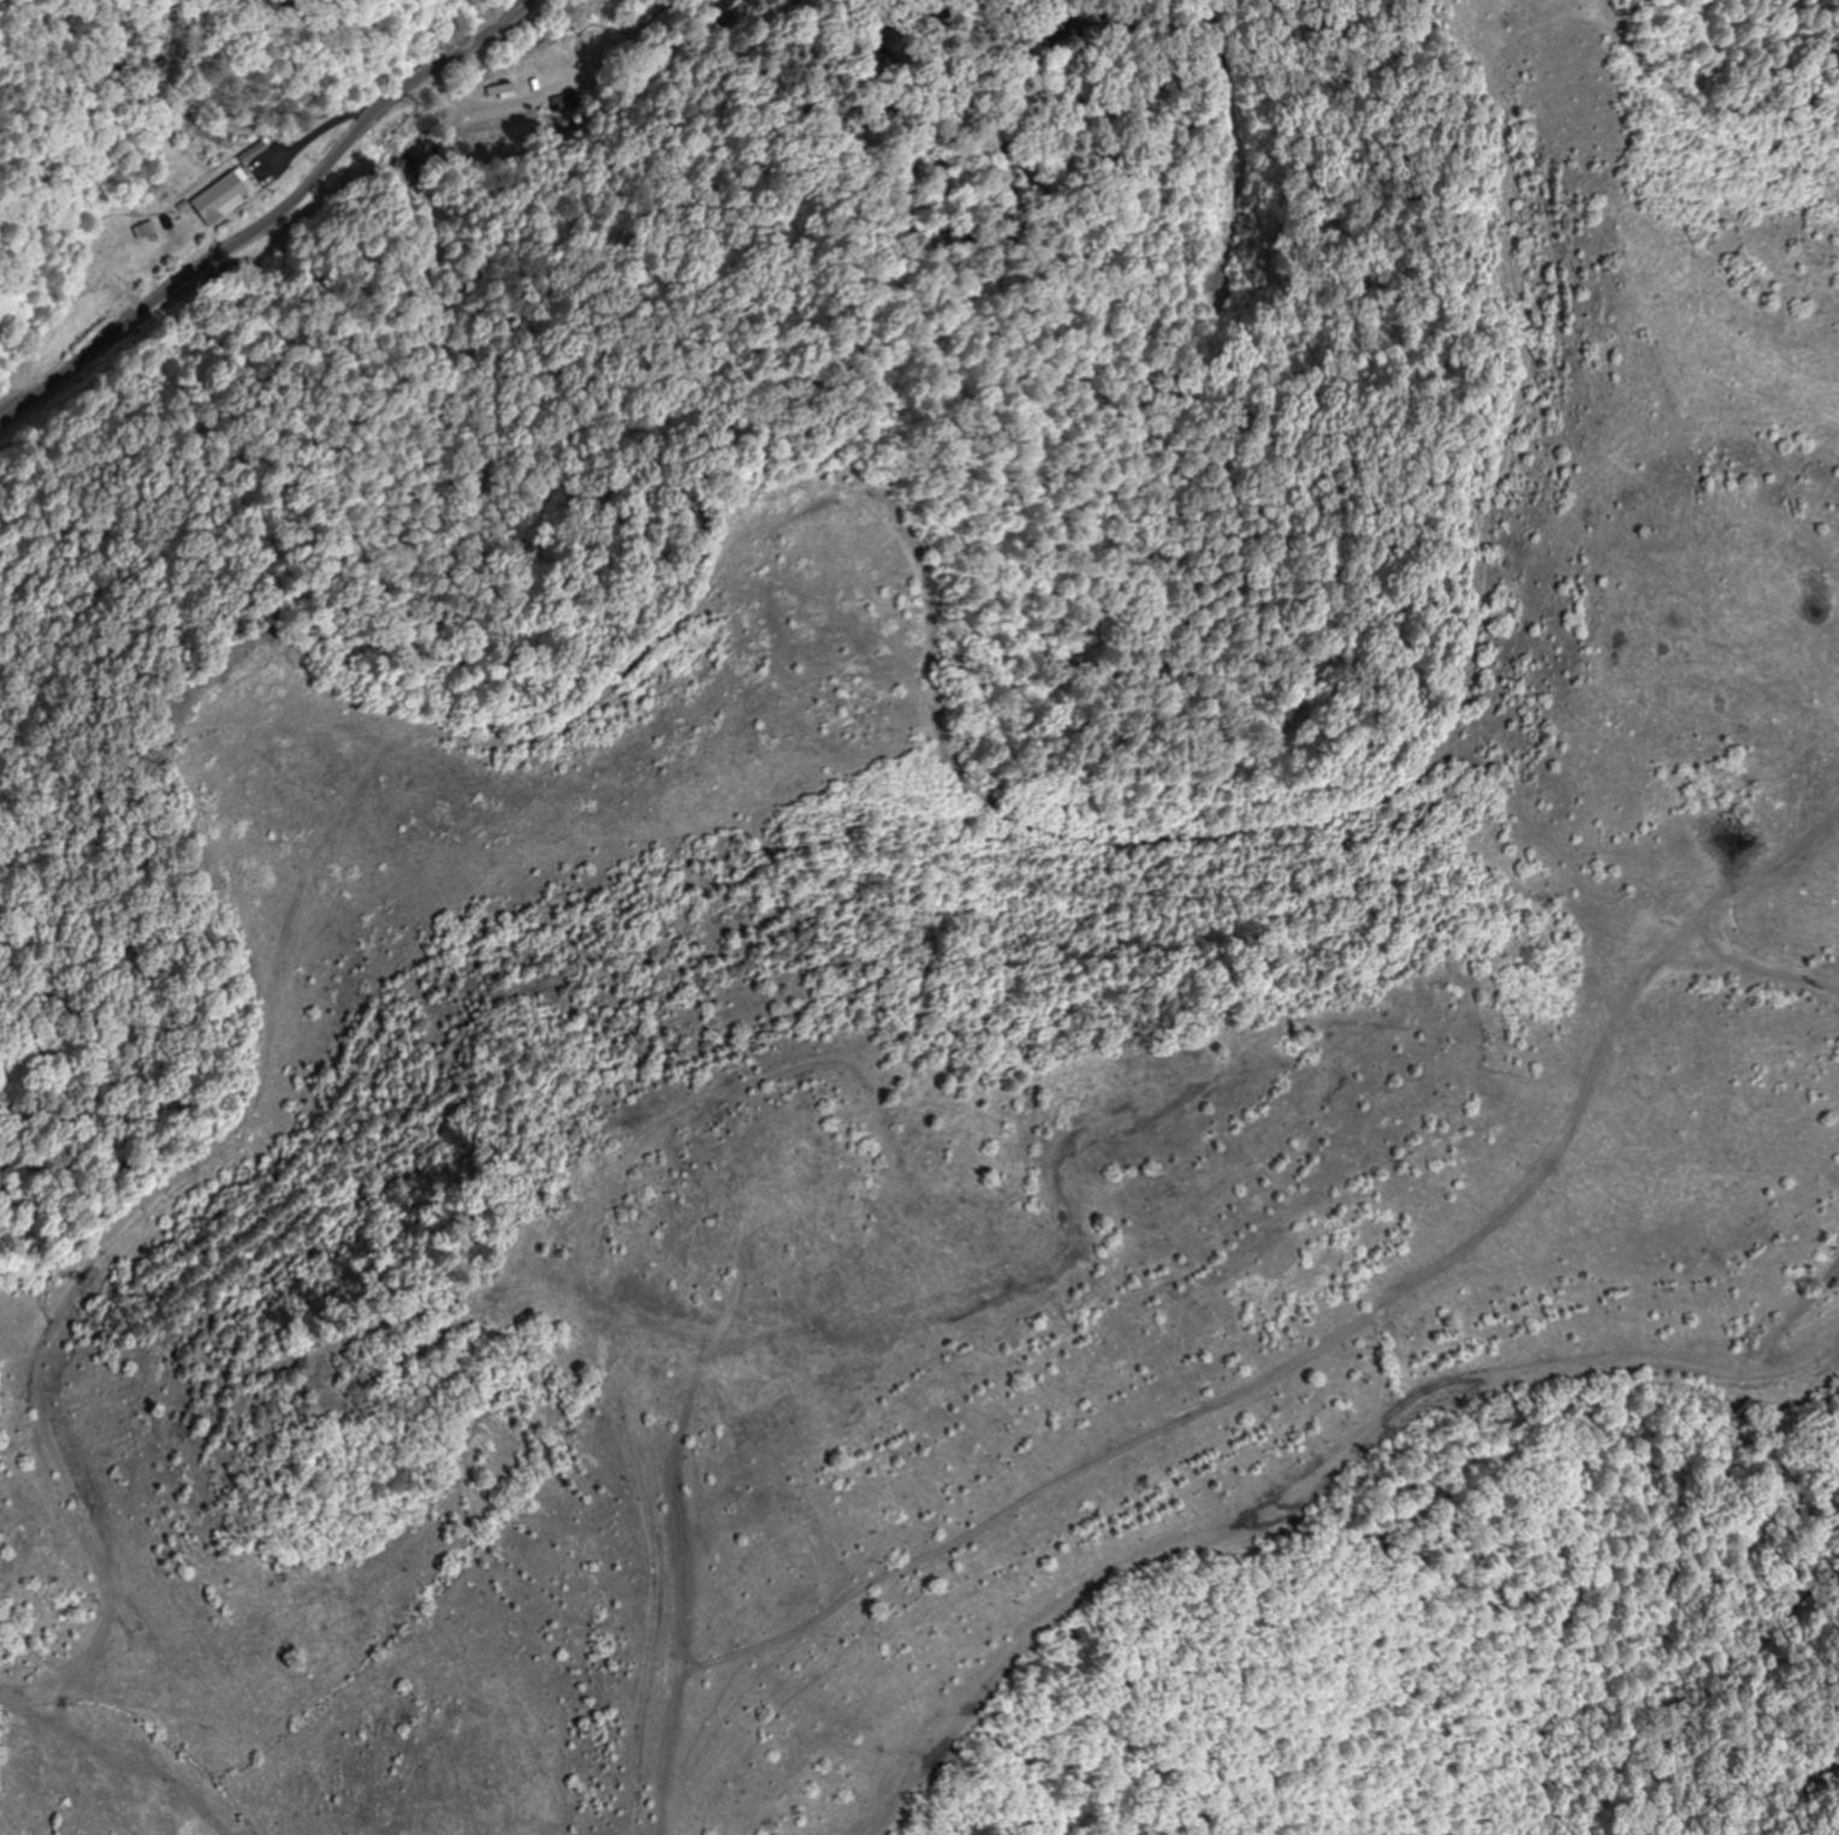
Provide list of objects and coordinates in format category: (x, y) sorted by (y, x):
building: (504, 90)
building: (215, 198)
road: (269, 220)
building: (108, 260)

